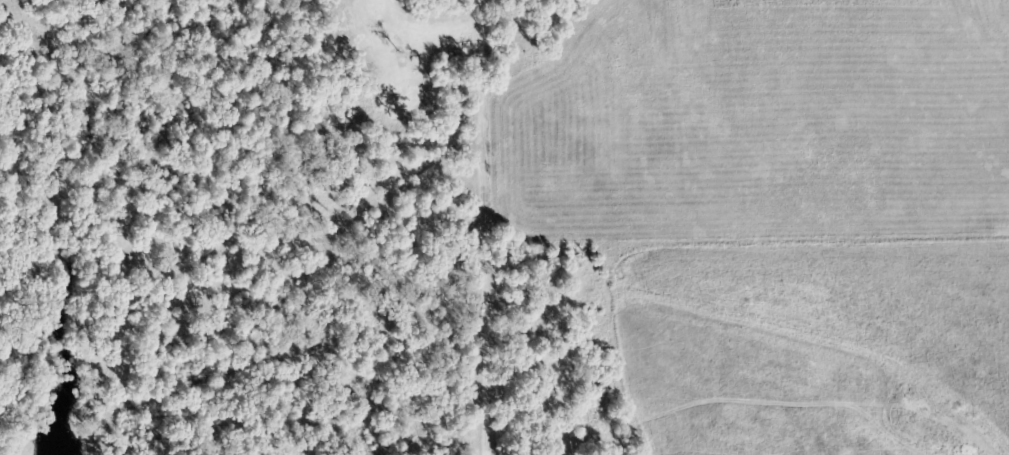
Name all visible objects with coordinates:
road: (973, 410)

